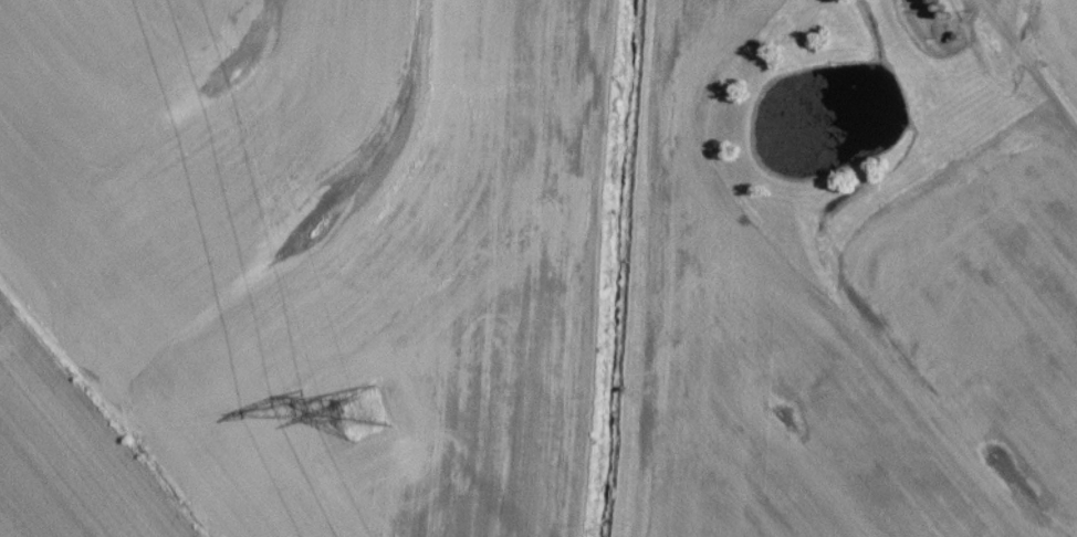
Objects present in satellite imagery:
road: (1021, 72)
power tower: (359, 415)

